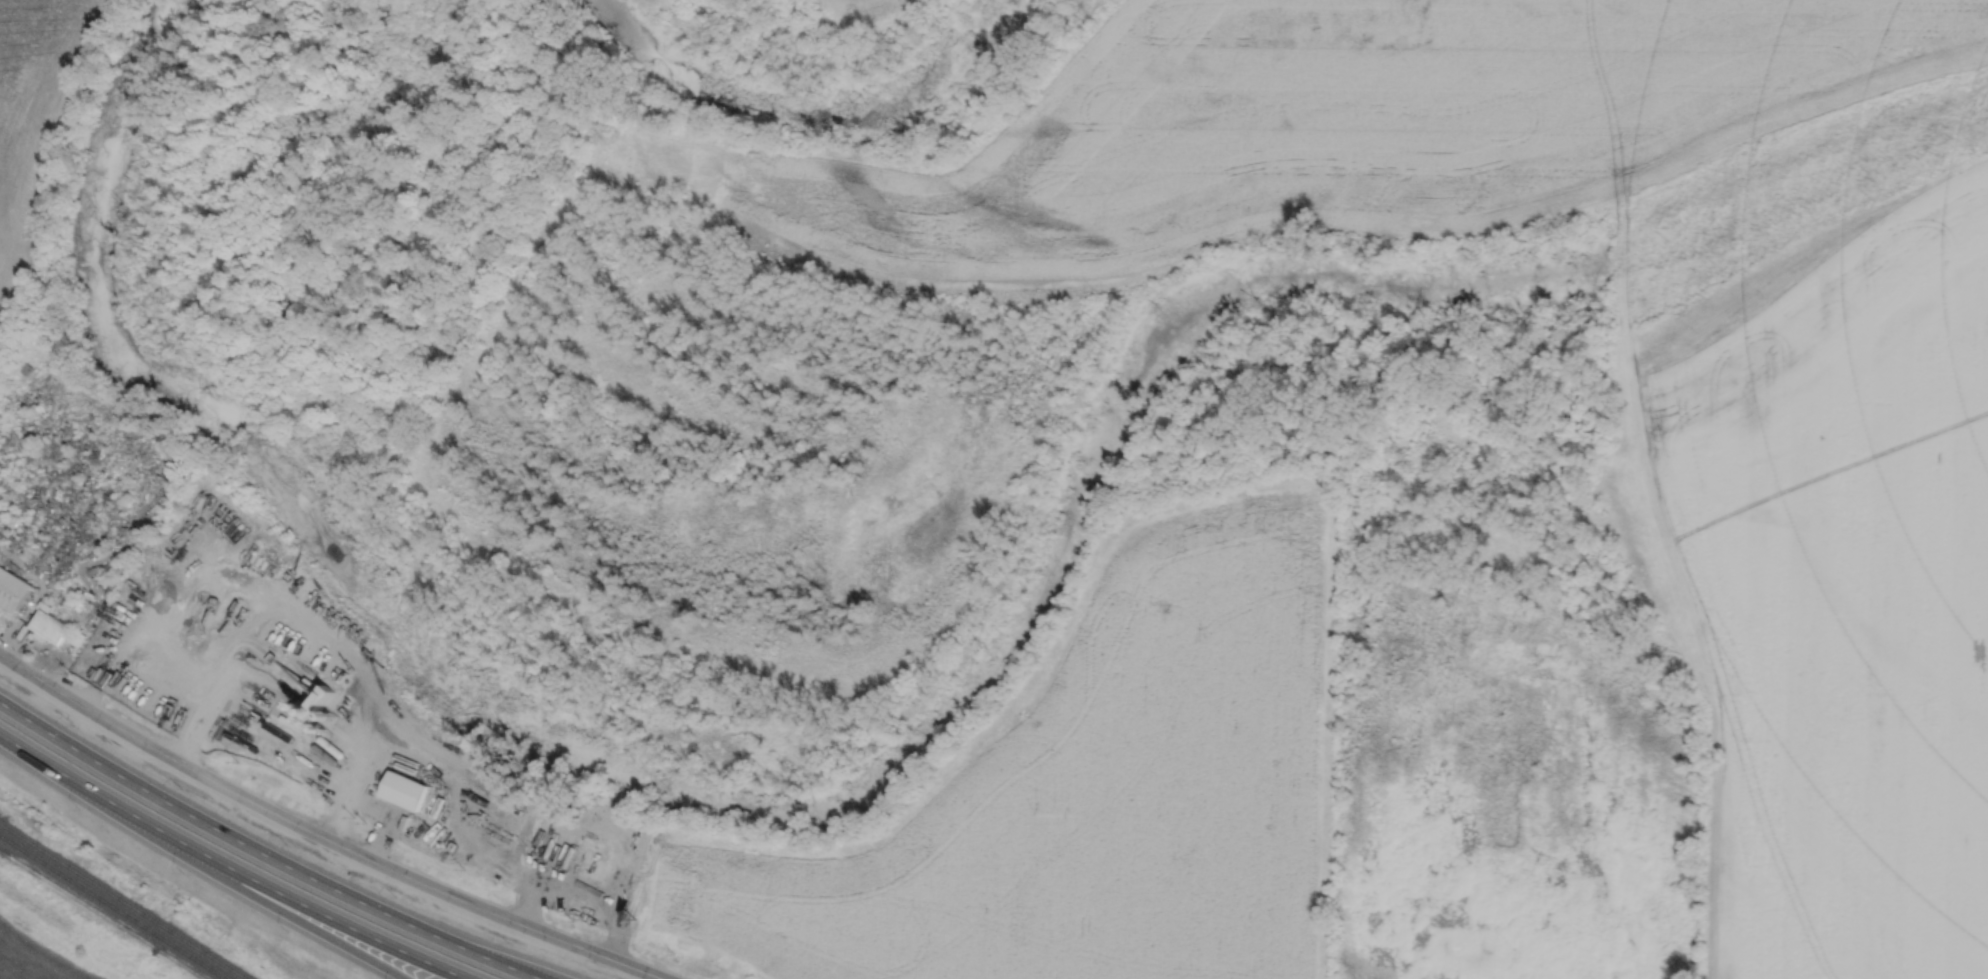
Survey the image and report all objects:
crop: (1839, 586)
building: (12, 590)
building: (44, 608)
building: (48, 627)
building: (36, 637)
building: (75, 638)
building: (404, 789)
road: (90, 790)
crop: (1091, 794)
road: (322, 835)
road: (263, 853)
building: (593, 863)
railway: (122, 901)
building: (587, 904)
railway: (112, 906)
road: (323, 914)
road: (291, 915)

